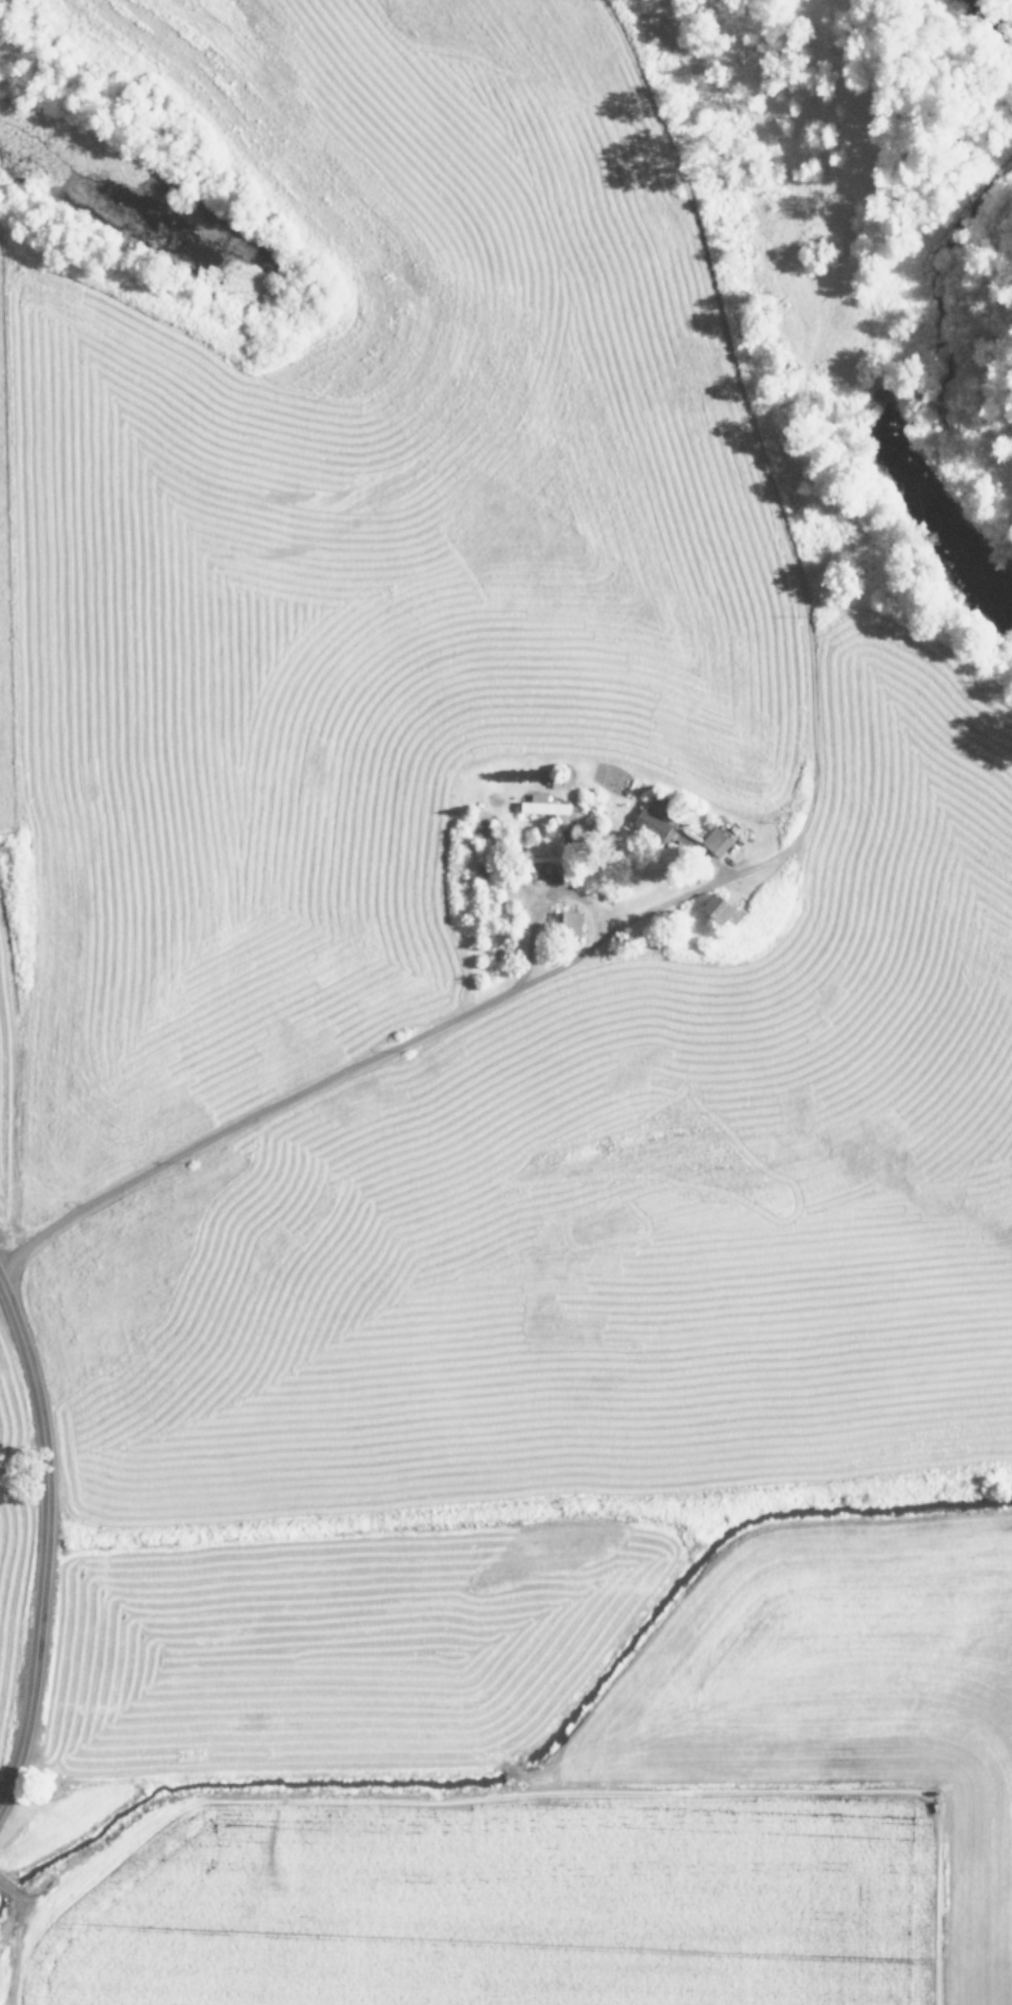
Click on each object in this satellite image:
building: (541, 805)
building: (650, 824)
building: (714, 841)
building: (719, 911)
building: (570, 923)
crop: (472, 1072)
road: (335, 1080)
road: (44, 1539)

